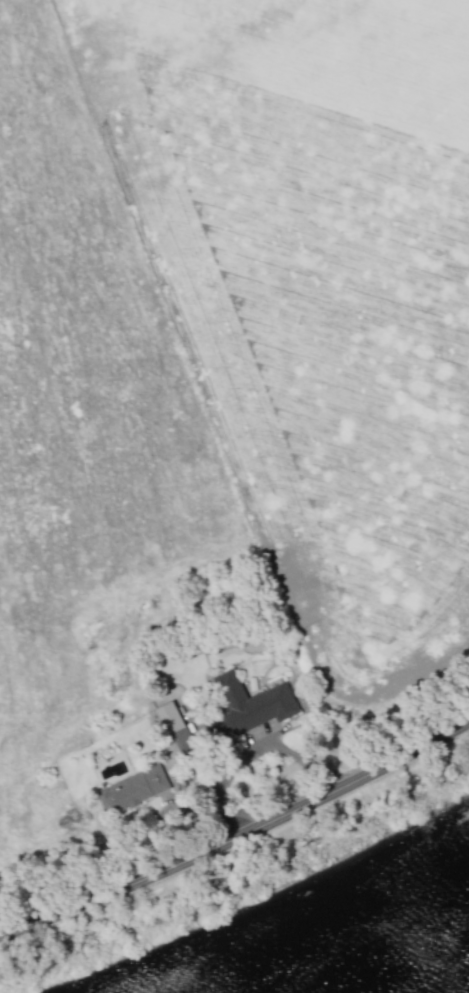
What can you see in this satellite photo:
building: (250, 704)
building: (131, 790)
road: (237, 835)
river: (403, 964)

